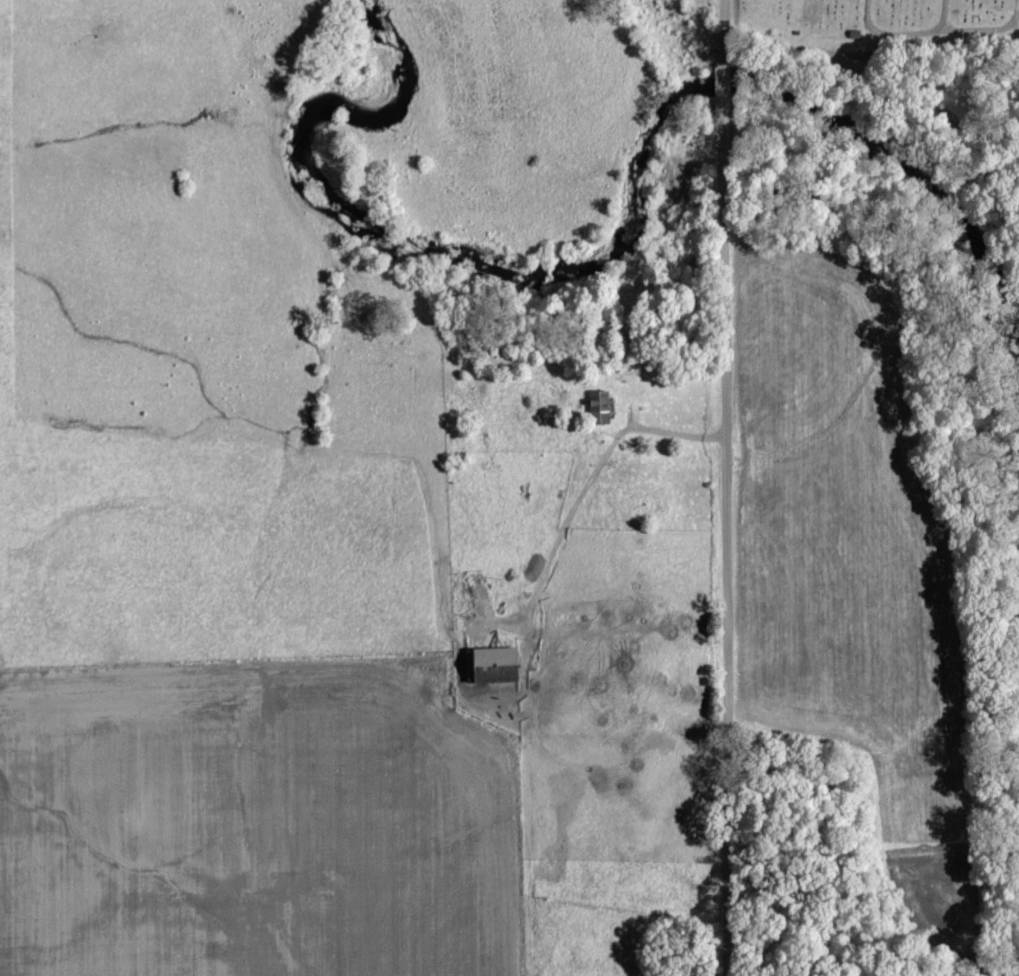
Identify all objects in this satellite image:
road: (721, 29)
road: (722, 84)
building: (601, 407)
road: (677, 429)
road: (725, 542)
building: (499, 664)

